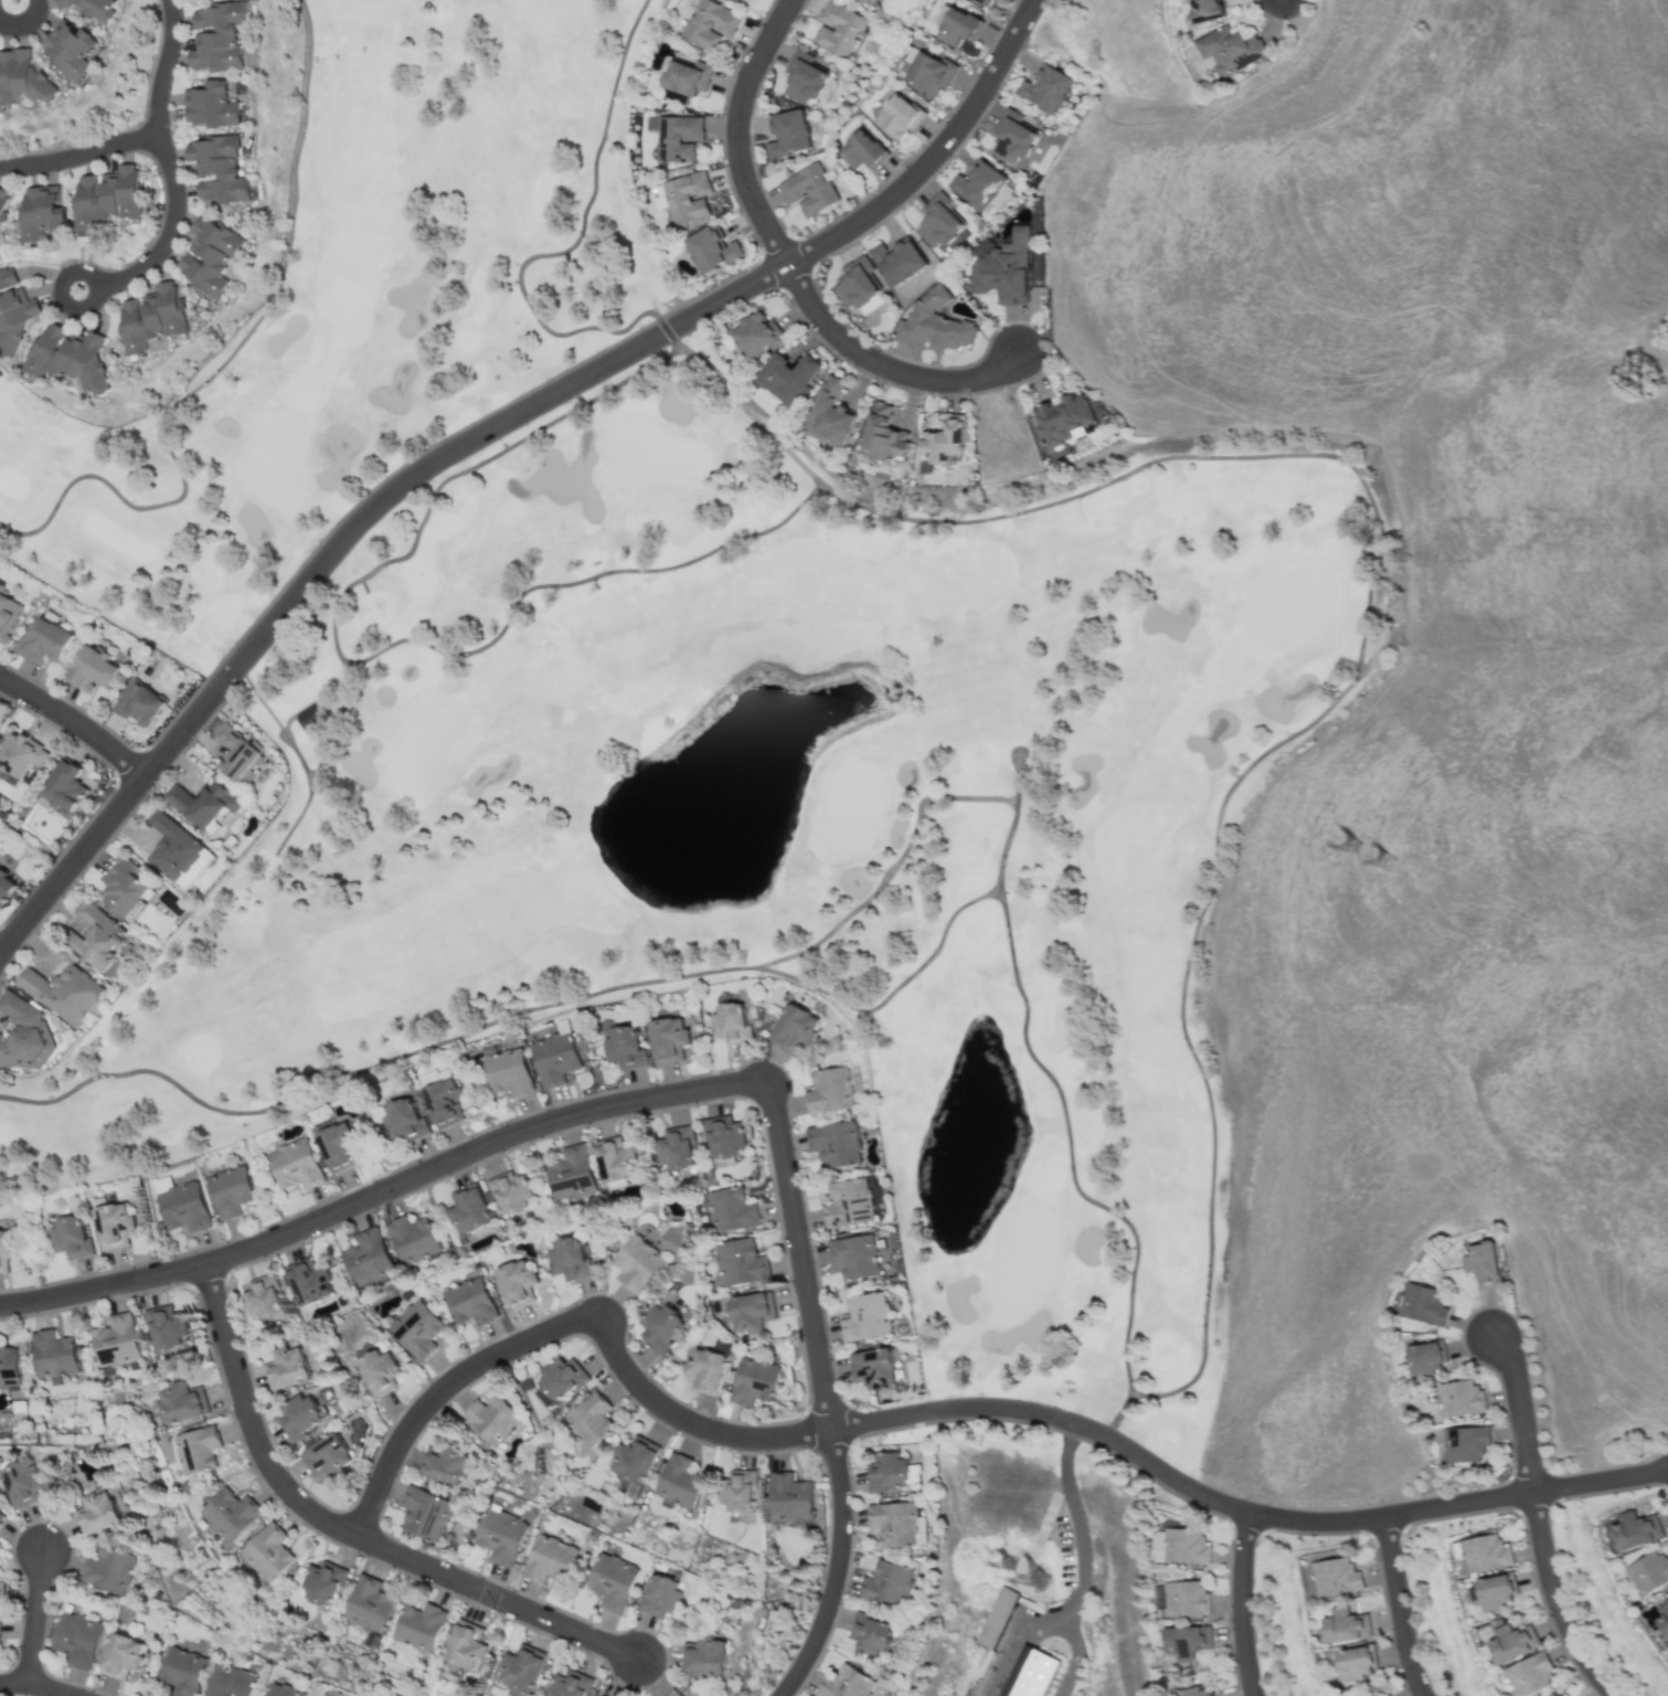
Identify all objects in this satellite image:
building: (982, 1)
building: (872, 2)
building: (91, 8)
building: (1204, 10)
road: (1023, 14)
road: (24, 21)
building: (710, 24)
building: (956, 26)
building: (838, 28)
building: (219, 36)
building: (71, 49)
building: (1229, 50)
building: (928, 73)
building: (686, 76)
building: (805, 76)
building: (22, 78)
building: (1045, 88)
building: (210, 105)
building: (897, 116)
road: (735, 130)
building: (789, 134)
building: (1012, 135)
building: (674, 136)
park: (476, 139)
building: (861, 150)
road: (79, 152)
road: (166, 163)
road: (920, 166)
building: (220, 168)
building: (979, 184)
building: (808, 189)
building: (659, 195)
building: (108, 197)
building: (687, 197)
building: (3, 204)
building: (42, 212)
building: (938, 221)
road: (575, 241)
building: (712, 250)
building: (211, 255)
building: (897, 261)
building: (1002, 267)
building: (6, 277)
building: (857, 283)
park: (115, 285)
road: (56, 296)
building: (152, 317)
building: (14, 319)
building: (934, 322)
road: (665, 330)
building: (757, 333)
building: (72, 358)
road: (222, 362)
road: (881, 365)
building: (788, 377)
building: (830, 413)
building: (1062, 418)
park: (900, 423)
road: (482, 432)
building: (884, 435)
building: (944, 441)
building: (7, 615)
road: (1385, 616)
building: (44, 642)
road: (362, 660)
building: (92, 669)
building: (137, 702)
road: (293, 714)
building: (308, 719)
road: (275, 720)
road: (73, 722)
park: (134, 722)
park: (1239, 744)
building: (236, 751)
building: (20, 753)
road: (318, 762)
road: (1016, 776)
building: (65, 786)
building: (203, 804)
road: (115, 807)
park: (107, 809)
park: (107, 809)
power tower: (1357, 841)
building: (178, 851)
power tower: (1390, 856)
building: (6, 886)
building: (124, 886)
building: (96, 936)
road: (892, 989)
building: (63, 992)
building: (731, 1022)
building: (795, 1028)
building: (22, 1035)
building: (668, 1039)
building: (625, 1047)
park: (216, 1048)
building: (508, 1071)
building: (434, 1077)
building: (830, 1090)
building: (444, 1102)
park: (746, 1104)
building: (403, 1119)
road: (544, 1122)
building: (724, 1136)
building: (835, 1143)
building: (677, 1148)
building: (617, 1159)
building: (296, 1164)
building: (570, 1172)
building: (231, 1190)
building: (510, 1192)
building: (848, 1202)
building: (182, 1205)
building: (468, 1209)
building: (731, 1209)
building: (114, 1225)
building: (71, 1237)
building: (412, 1239)
building: (6, 1249)
building: (854, 1255)
building: (368, 1258)
building: (567, 1259)
building: (740, 1261)
building: (637, 1263)
building: (1481, 1264)
building: (308, 1281)
building: (516, 1282)
building: (263, 1297)
building: (470, 1301)
building: (1423, 1304)
building: (750, 1312)
building: (865, 1317)
road: (566, 1321)
building: (166, 1326)
building: (660, 1326)
building: (416, 1328)
building: (116, 1340)
building: (53, 1354)
building: (1425, 1358)
park: (985, 1365)
building: (9, 1366)
building: (288, 1367)
building: (872, 1368)
building: (705, 1370)
building: (376, 1371)
building: (559, 1380)
building: (754, 1380)
road: (1144, 1393)
building: (1459, 1398)
building: (182, 1401)
road: (1516, 1410)
road: (1117, 1413)
building: (299, 1417)
building: (492, 1418)
building: (589, 1419)
building: (1463, 1443)
building: (195, 1449)
park: (1165, 1453)
building: (327, 1455)
building: (633, 1461)
building: (445, 1463)
building: (888, 1471)
building: (913, 1473)
road: (1173, 1478)
road: (1597, 1478)
building: (678, 1482)
building: (22, 1484)
building: (737, 1491)
building: (789, 1497)
building: (425, 1512)
building: (99, 1513)
building: (227, 1514)
building: (1, 1516)
building: (897, 1524)
road: (1075, 1524)
building: (1635, 1529)
road: (346, 1530)
building: (502, 1536)
building: (1180, 1546)
building: (265, 1551)
building: (1485, 1554)
power tower: (1010, 1557)
building: (549, 1559)
road: (835, 1568)
building: (108, 1569)
building: (1648, 1572)
power tower: (1040, 1573)
building: (1336, 1576)
building: (613, 1581)
building: (321, 1582)
building: (889, 1584)
building: (1496, 1590)
building: (1, 1591)
building: (662, 1596)
building: (1184, 1599)
road: (1553, 1600)
road: (1239, 1603)
building: (368, 1604)
road: (1396, 1605)
building: (1664, 1616)
road: (33, 1618)
building: (996, 1618)
building: (0, 1620)
building: (418, 1625)
building: (1345, 1625)
building: (871, 1633)
building: (77, 1639)
building: (1186, 1641)
building: (1510, 1642)
building: (464, 1644)
road: (1019, 1645)
building: (120, 1655)
building: (706, 1655)
road: (1075, 1660)
building: (1356, 1662)
building: (520, 1669)
building: (183, 1671)
building: (1037, 1673)
building: (1529, 1674)
building: (232, 1682)
building: (847, 1683)
building: (567, 1684)
road: (38, 1686)
building: (286, 1690)
building: (1198, 1690)
building: (669, 1694)
building: (1562, 1694)

